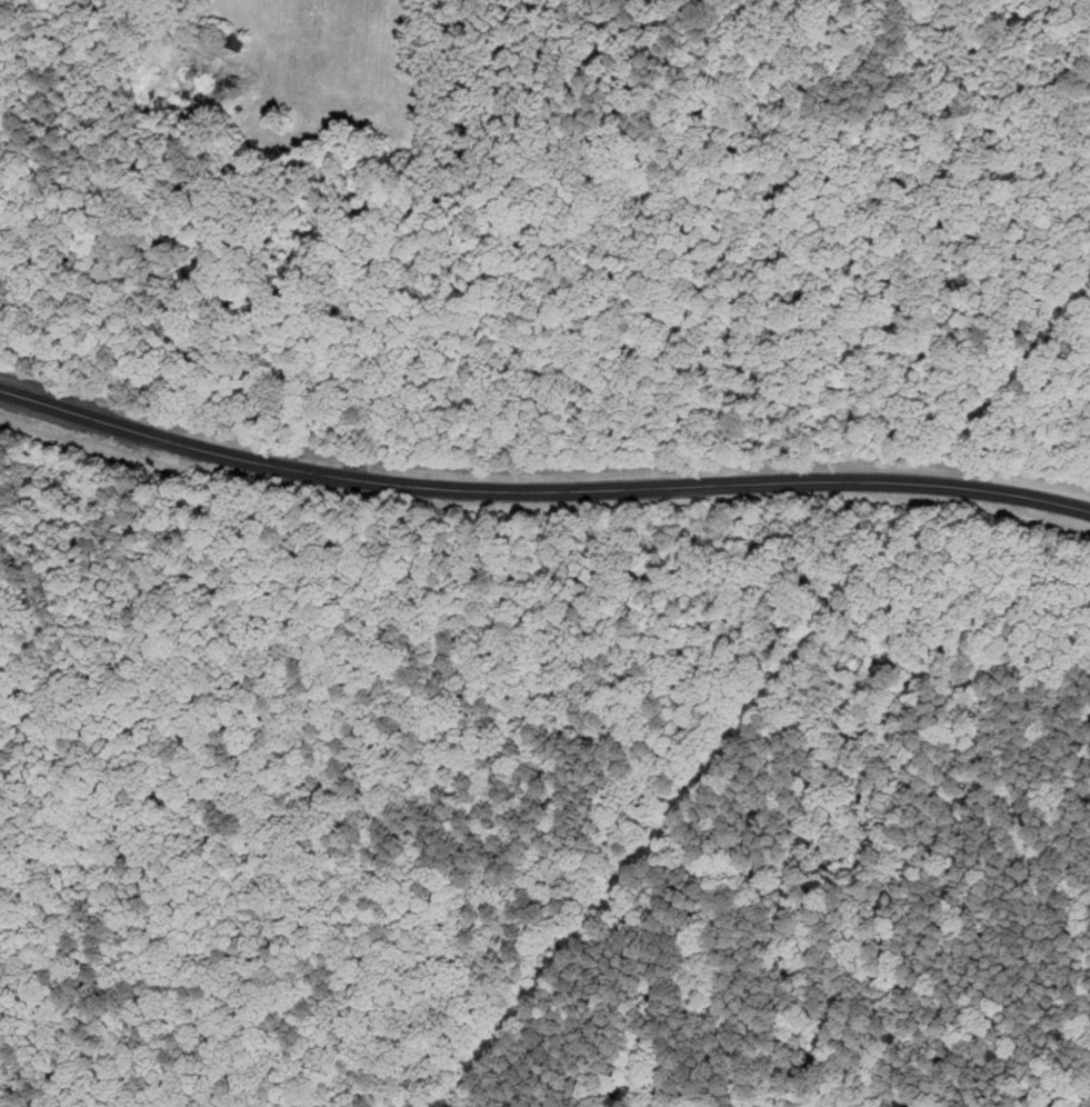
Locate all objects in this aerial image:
building: (229, 37)
road: (189, 48)
road: (540, 490)

